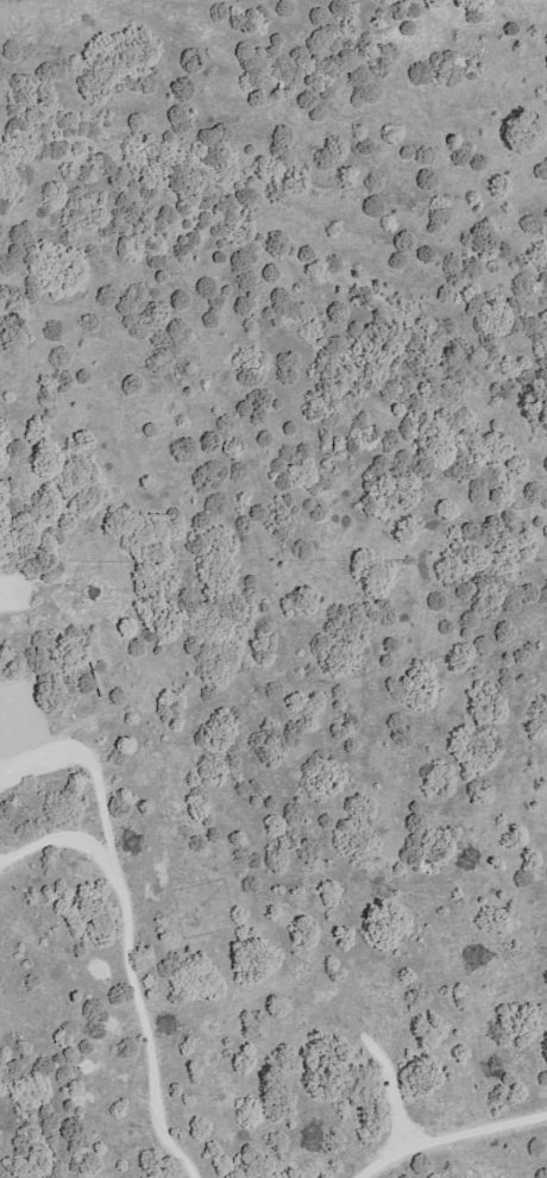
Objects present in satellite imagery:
building: (90, 656)
building: (99, 682)
road: (126, 960)
road: (448, 1135)

